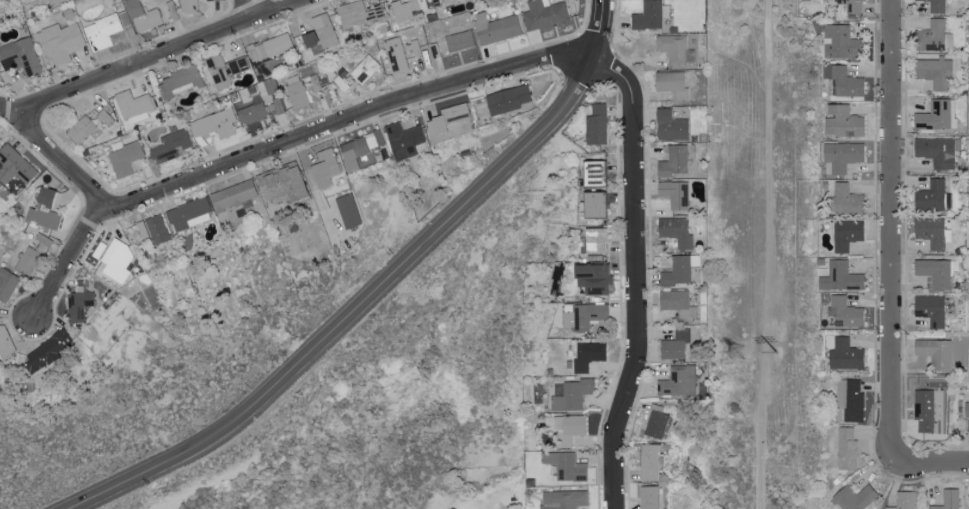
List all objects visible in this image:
building: (803, 0)
building: (189, 5)
building: (851, 6)
building: (936, 6)
building: (408, 9)
road: (244, 11)
building: (543, 13)
building: (358, 14)
building: (650, 14)
building: (142, 15)
building: (495, 27)
building: (324, 29)
building: (102, 31)
road: (604, 31)
building: (933, 36)
building: (309, 38)
building: (459, 40)
building: (60, 41)
building: (839, 41)
building: (270, 46)
building: (414, 47)
building: (673, 47)
building: (395, 55)
building: (19, 56)
road: (158, 57)
building: (365, 68)
building: (224, 69)
building: (934, 72)
building: (178, 81)
building: (846, 82)
building: (672, 84)
building: (296, 91)
building: (508, 98)
building: (262, 103)
building: (133, 105)
building: (454, 115)
building: (937, 115)
road: (344, 121)
building: (842, 121)
building: (596, 124)
building: (214, 125)
building: (670, 125)
building: (435, 126)
building: (80, 128)
building: (404, 139)
building: (171, 145)
building: (359, 148)
building: (938, 150)
road: (52, 154)
building: (840, 156)
building: (124, 157)
building: (673, 161)
building: (14, 165)
building: (325, 168)
building: (593, 173)
building: (282, 183)
building: (674, 193)
building: (233, 195)
building: (932, 196)
building: (846, 198)
building: (594, 204)
building: (43, 210)
building: (348, 210)
building: (186, 213)
road: (892, 224)
building: (156, 228)
building: (142, 229)
building: (676, 231)
building: (932, 232)
building: (846, 234)
building: (43, 239)
building: (596, 240)
road: (763, 254)
park: (762, 256)
building: (28, 260)
building: (116, 260)
road: (67, 262)
building: (679, 269)
building: (934, 272)
road: (636, 277)
building: (840, 277)
building: (592, 278)
building: (7, 283)
building: (673, 299)
building: (78, 304)
building: (930, 309)
road: (358, 310)
building: (845, 312)
building: (582, 314)
building: (674, 345)
building: (48, 351)
building: (935, 352)
power tower: (778, 353)
power tower: (735, 354)
building: (845, 354)
building: (588, 355)
park: (308, 372)
building: (678, 381)
building: (571, 393)
building: (850, 398)
building: (966, 408)
building: (923, 409)
building: (656, 421)
building: (566, 426)
building: (846, 447)
building: (650, 460)
building: (565, 464)
road: (925, 464)
building: (649, 496)
building: (854, 496)
building: (569, 499)
building: (947, 499)
building: (904, 500)

